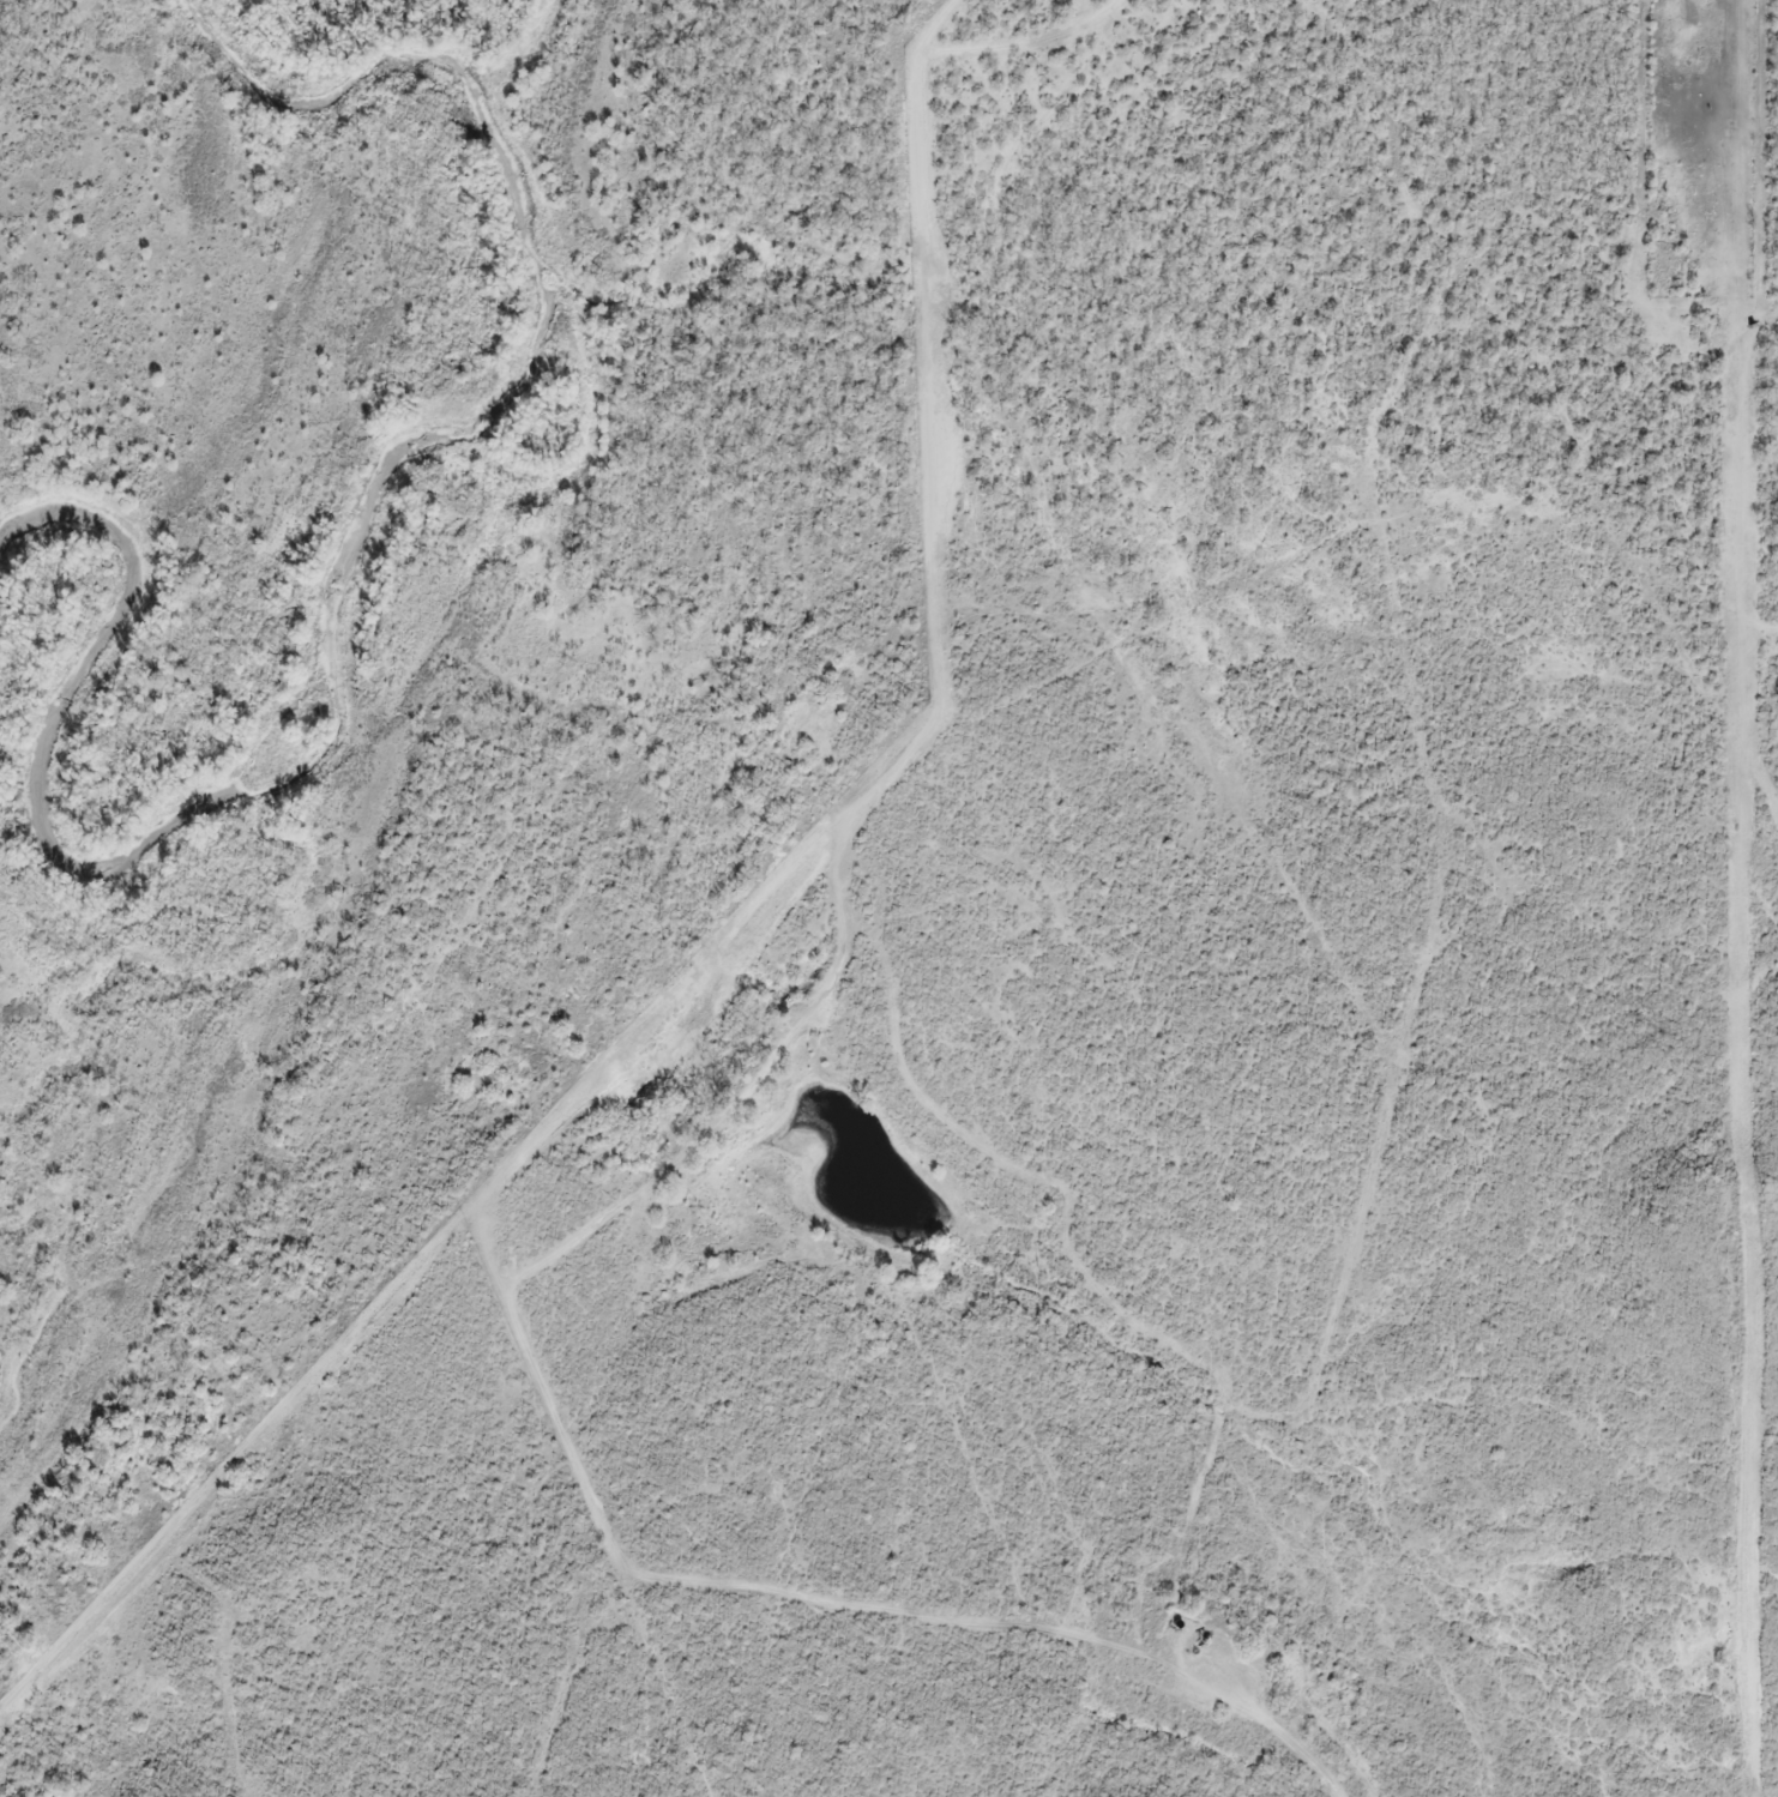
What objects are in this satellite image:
river: (318, 694)
road: (608, 780)

